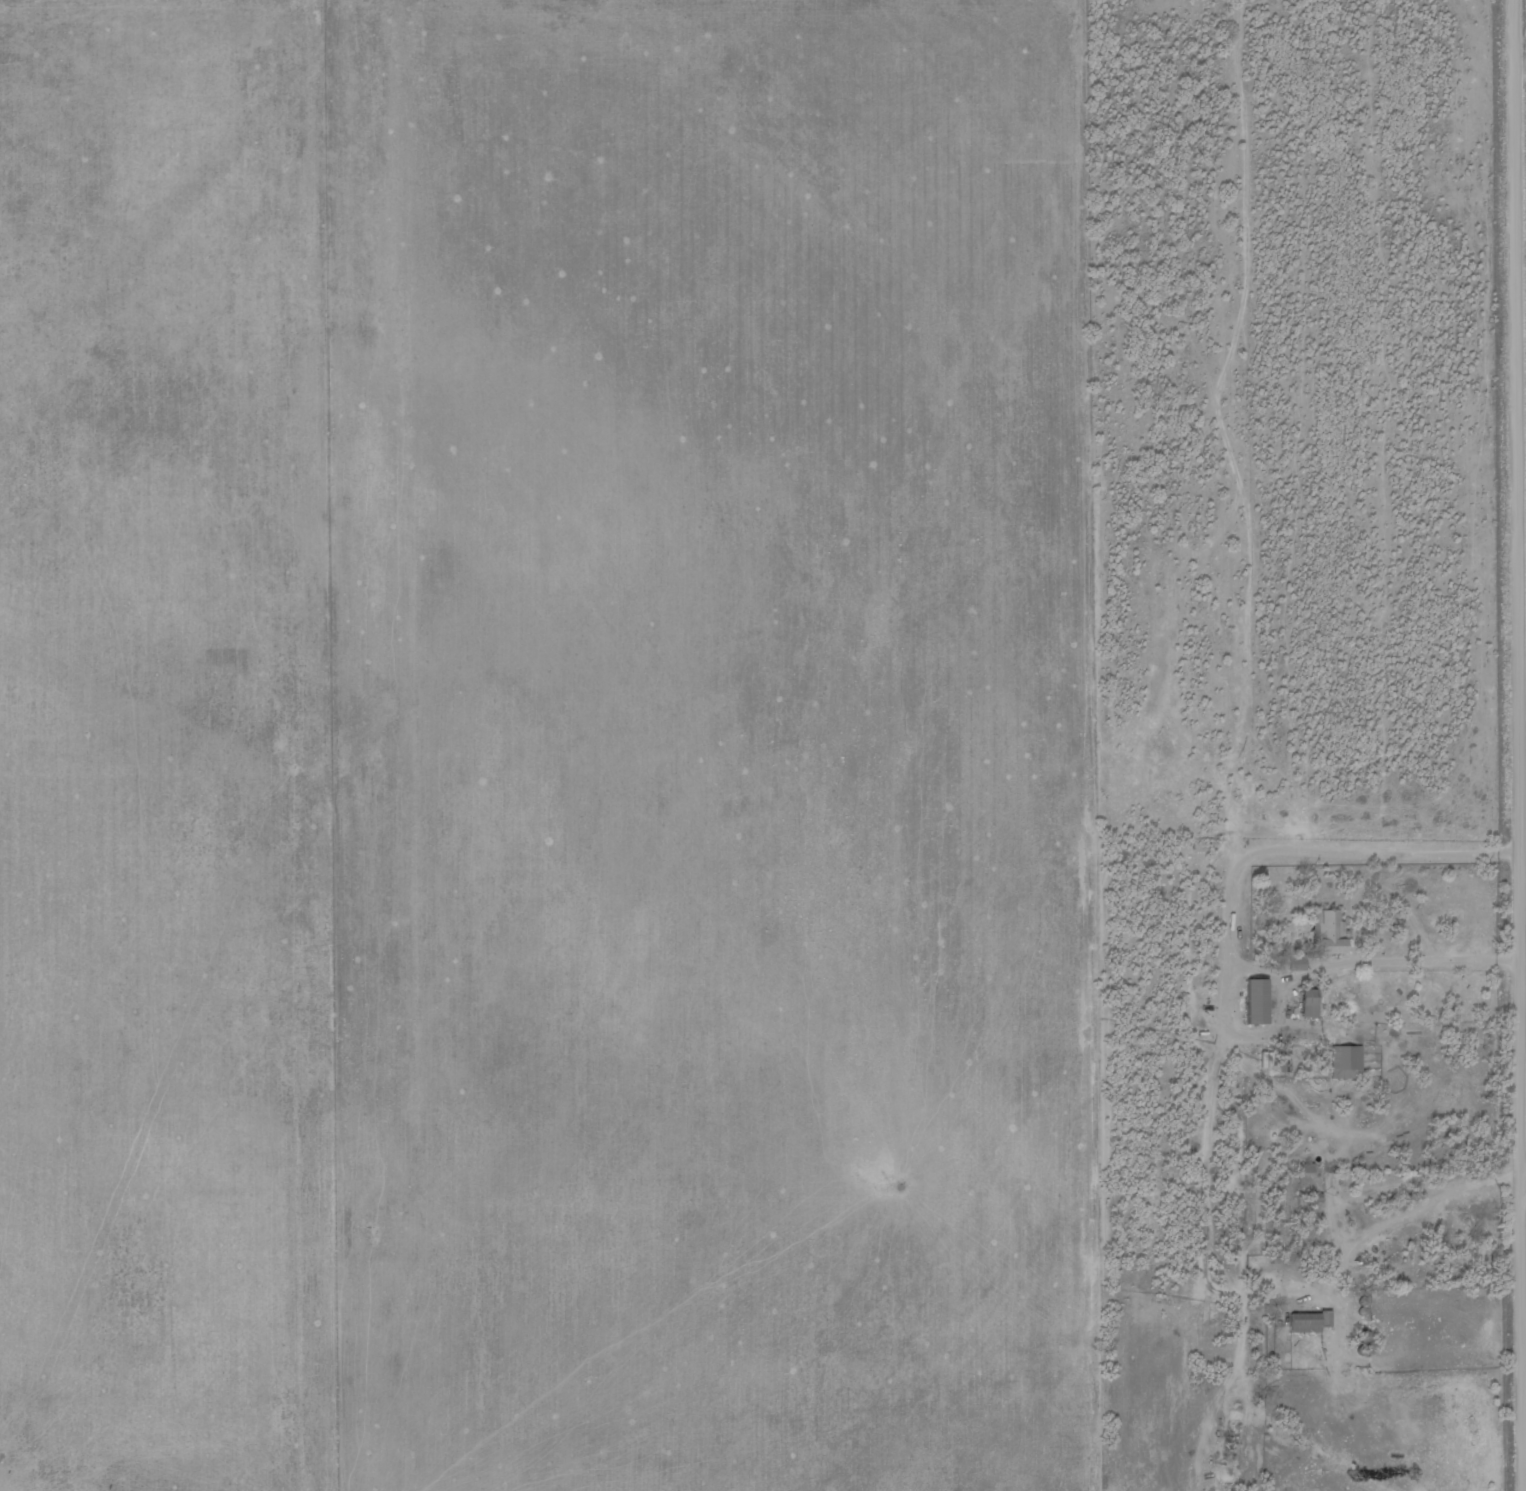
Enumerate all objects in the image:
road: (1512, 745)
building: (1327, 930)
road: (1231, 971)
building: (1255, 1000)
building: (1308, 1002)
building: (1347, 1062)
building: (1283, 1064)
road: (1524, 1195)
building: (1307, 1322)

